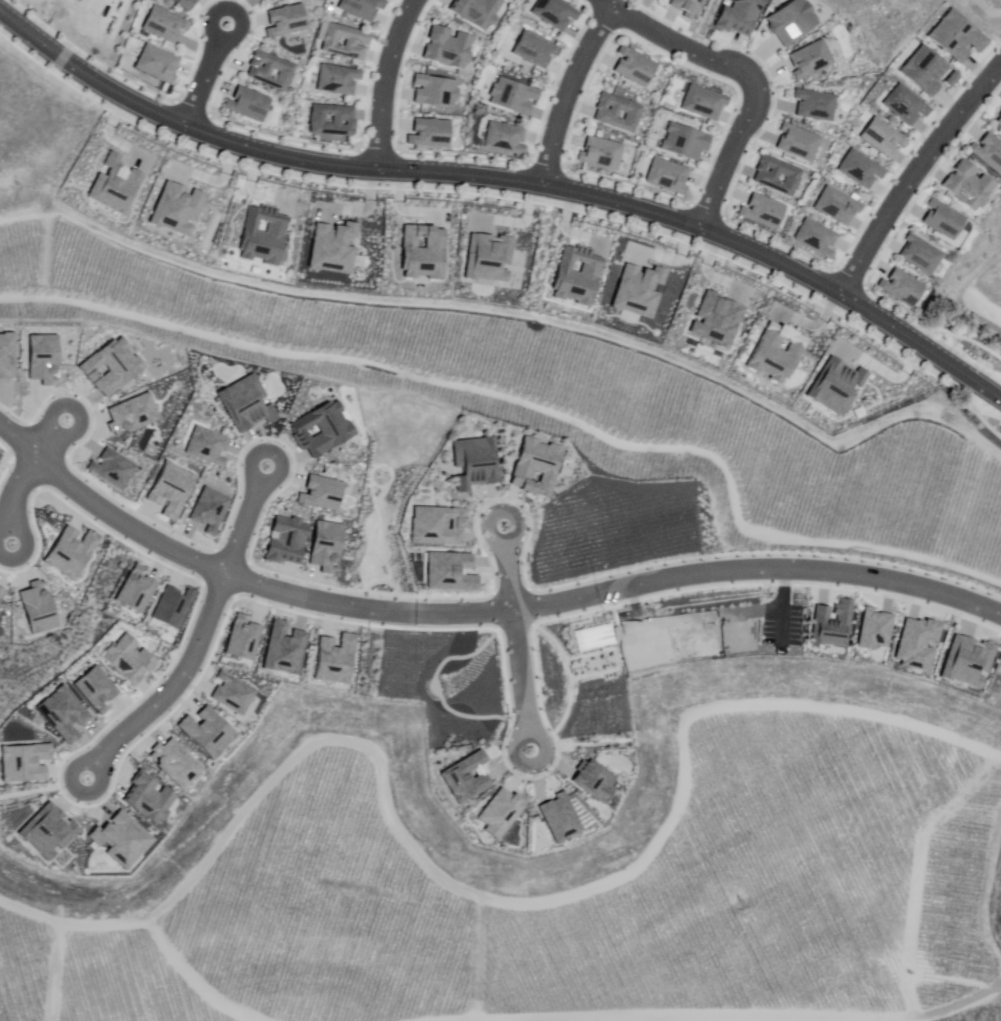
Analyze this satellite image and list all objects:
building: (271, 0)
building: (190, 4)
building: (366, 7)
building: (690, 7)
road: (987, 9)
building: (480, 11)
building: (558, 13)
park: (982, 14)
park: (982, 14)
building: (744, 16)
building: (288, 21)
building: (797, 22)
park: (888, 22)
park: (888, 22)
building: (168, 25)
building: (954, 35)
building: (349, 42)
road: (679, 42)
building: (452, 47)
building: (537, 50)
building: (814, 60)
building: (161, 65)
building: (638, 67)
building: (923, 70)
building: (274, 71)
road: (206, 73)
building: (342, 79)
road: (383, 80)
road: (566, 90)
building: (437, 91)
building: (516, 97)
building: (707, 103)
building: (251, 104)
building: (819, 105)
building: (905, 105)
building: (621, 114)
building: (998, 120)
building: (335, 121)
building: (431, 133)
building: (882, 137)
building: (508, 139)
building: (689, 142)
building: (801, 143)
building: (988, 151)
building: (603, 153)
road: (730, 156)
building: (860, 169)
road: (914, 171)
building: (776, 175)
building: (672, 176)
road: (507, 179)
building: (118, 182)
building: (967, 185)
building: (836, 206)
building: (177, 210)
building: (762, 211)
building: (942, 218)
building: (264, 235)
building: (815, 238)
building: (423, 244)
building: (331, 247)
building: (496, 254)
building: (919, 254)
road: (33, 275)
building: (571, 276)
park: (979, 281)
park: (979, 281)
building: (643, 283)
building: (901, 287)
road: (964, 294)
building: (713, 321)
building: (777, 346)
building: (43, 355)
building: (7, 357)
building: (112, 367)
building: (832, 373)
road: (537, 386)
building: (243, 401)
building: (132, 413)
building: (322, 428)
road: (47, 441)
building: (208, 445)
building: (2, 457)
building: (475, 460)
building: (112, 467)
building: (535, 467)
building: (170, 490)
building: (324, 491)
road: (11, 498)
building: (210, 511)
road: (247, 522)
building: (431, 526)
building: (285, 538)
building: (328, 548)
building: (68, 551)
road: (504, 568)
building: (454, 571)
building: (1, 590)
building: (138, 591)
building: (38, 608)
building: (171, 609)
road: (480, 610)
building: (834, 623)
building: (876, 629)
building: (244, 635)
building: (595, 637)
building: (917, 645)
building: (283, 649)
building: (649, 650)
building: (133, 659)
building: (336, 659)
building: (971, 662)
road: (518, 680)
road: (172, 688)
building: (98, 689)
building: (232, 693)
building: (66, 714)
building: (206, 731)
building: (26, 762)
building: (175, 764)
building: (465, 777)
building: (597, 781)
building: (150, 799)
building: (500, 812)
building: (559, 817)
building: (46, 833)
building: (120, 840)

